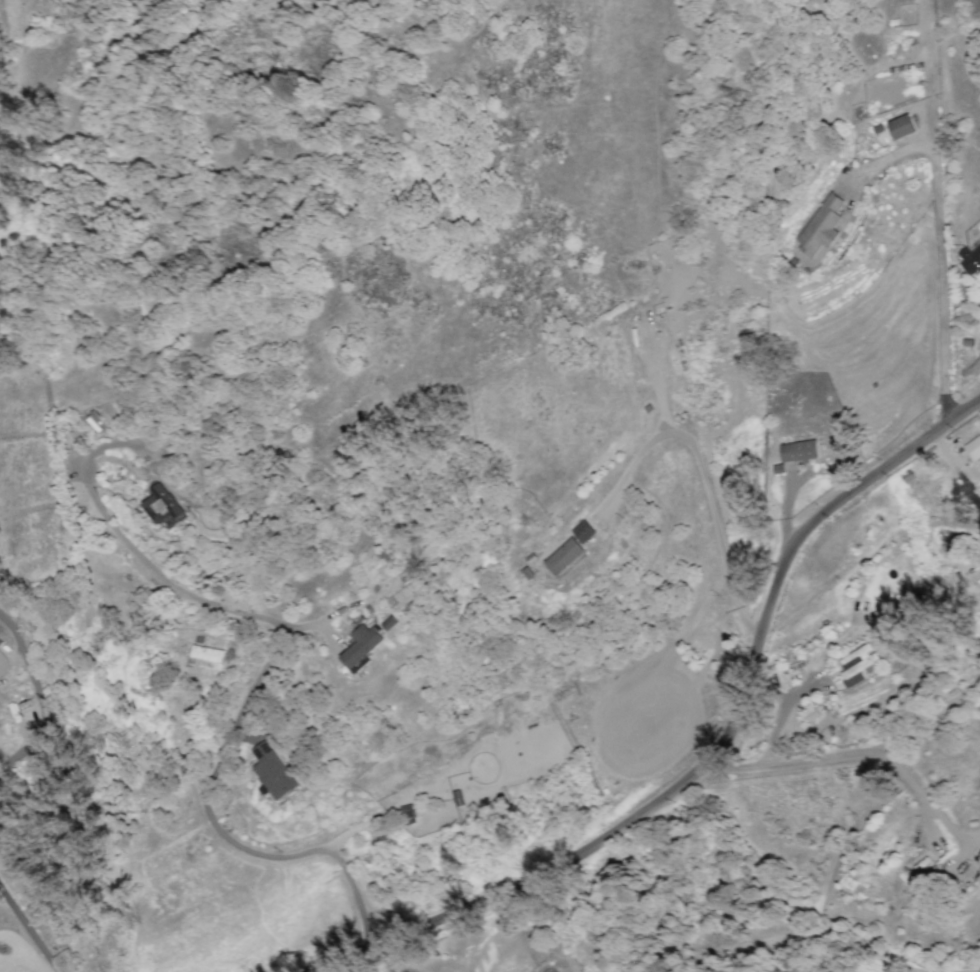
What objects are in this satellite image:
power tower: (738, 97)
building: (900, 126)
building: (821, 225)
road: (939, 247)
building: (970, 259)
building: (973, 447)
building: (793, 454)
building: (162, 504)
building: (582, 531)
building: (563, 556)
building: (389, 623)
building: (361, 647)
building: (204, 656)
building: (857, 661)
road: (40, 699)
road: (237, 719)
road: (184, 741)
road: (863, 752)
road: (711, 754)
building: (271, 770)
road: (27, 930)
road: (384, 958)

